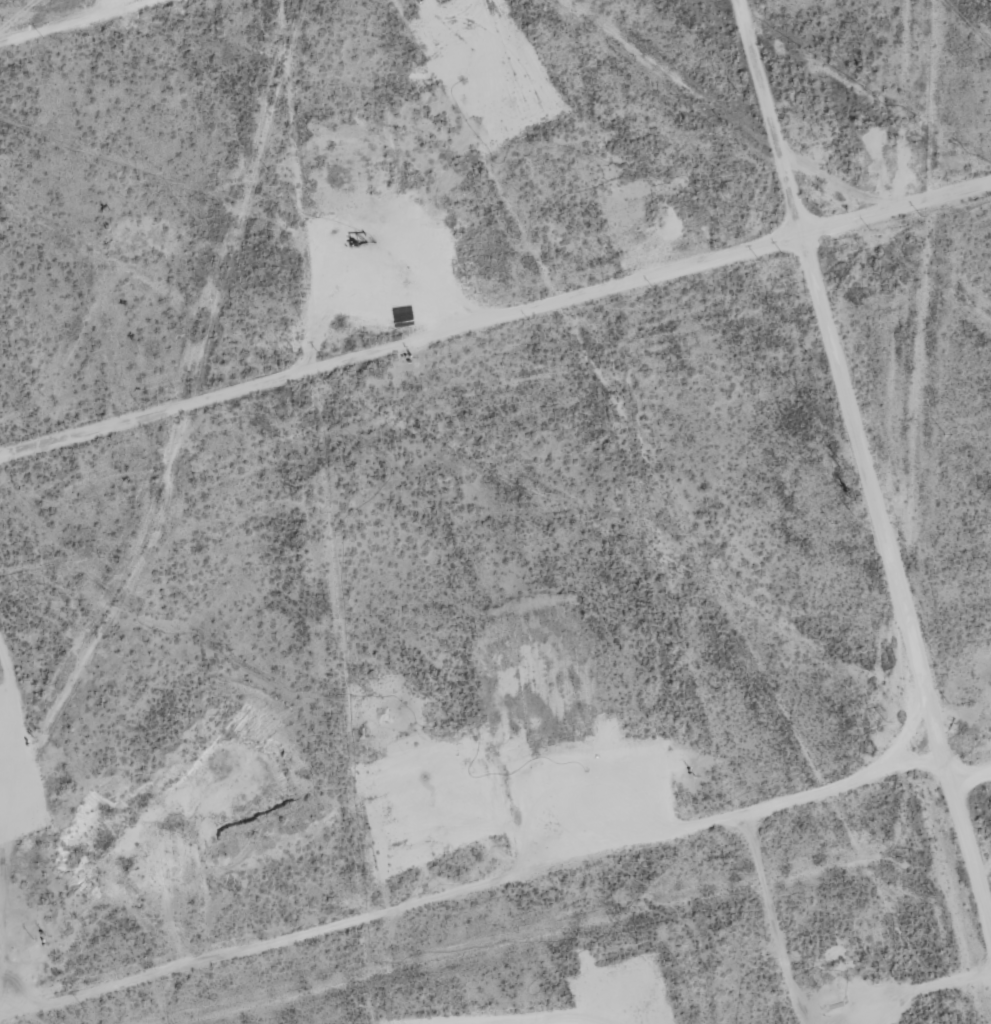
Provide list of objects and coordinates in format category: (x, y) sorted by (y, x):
road: (164, 45)
road: (495, 339)
road: (855, 505)
road: (962, 793)

